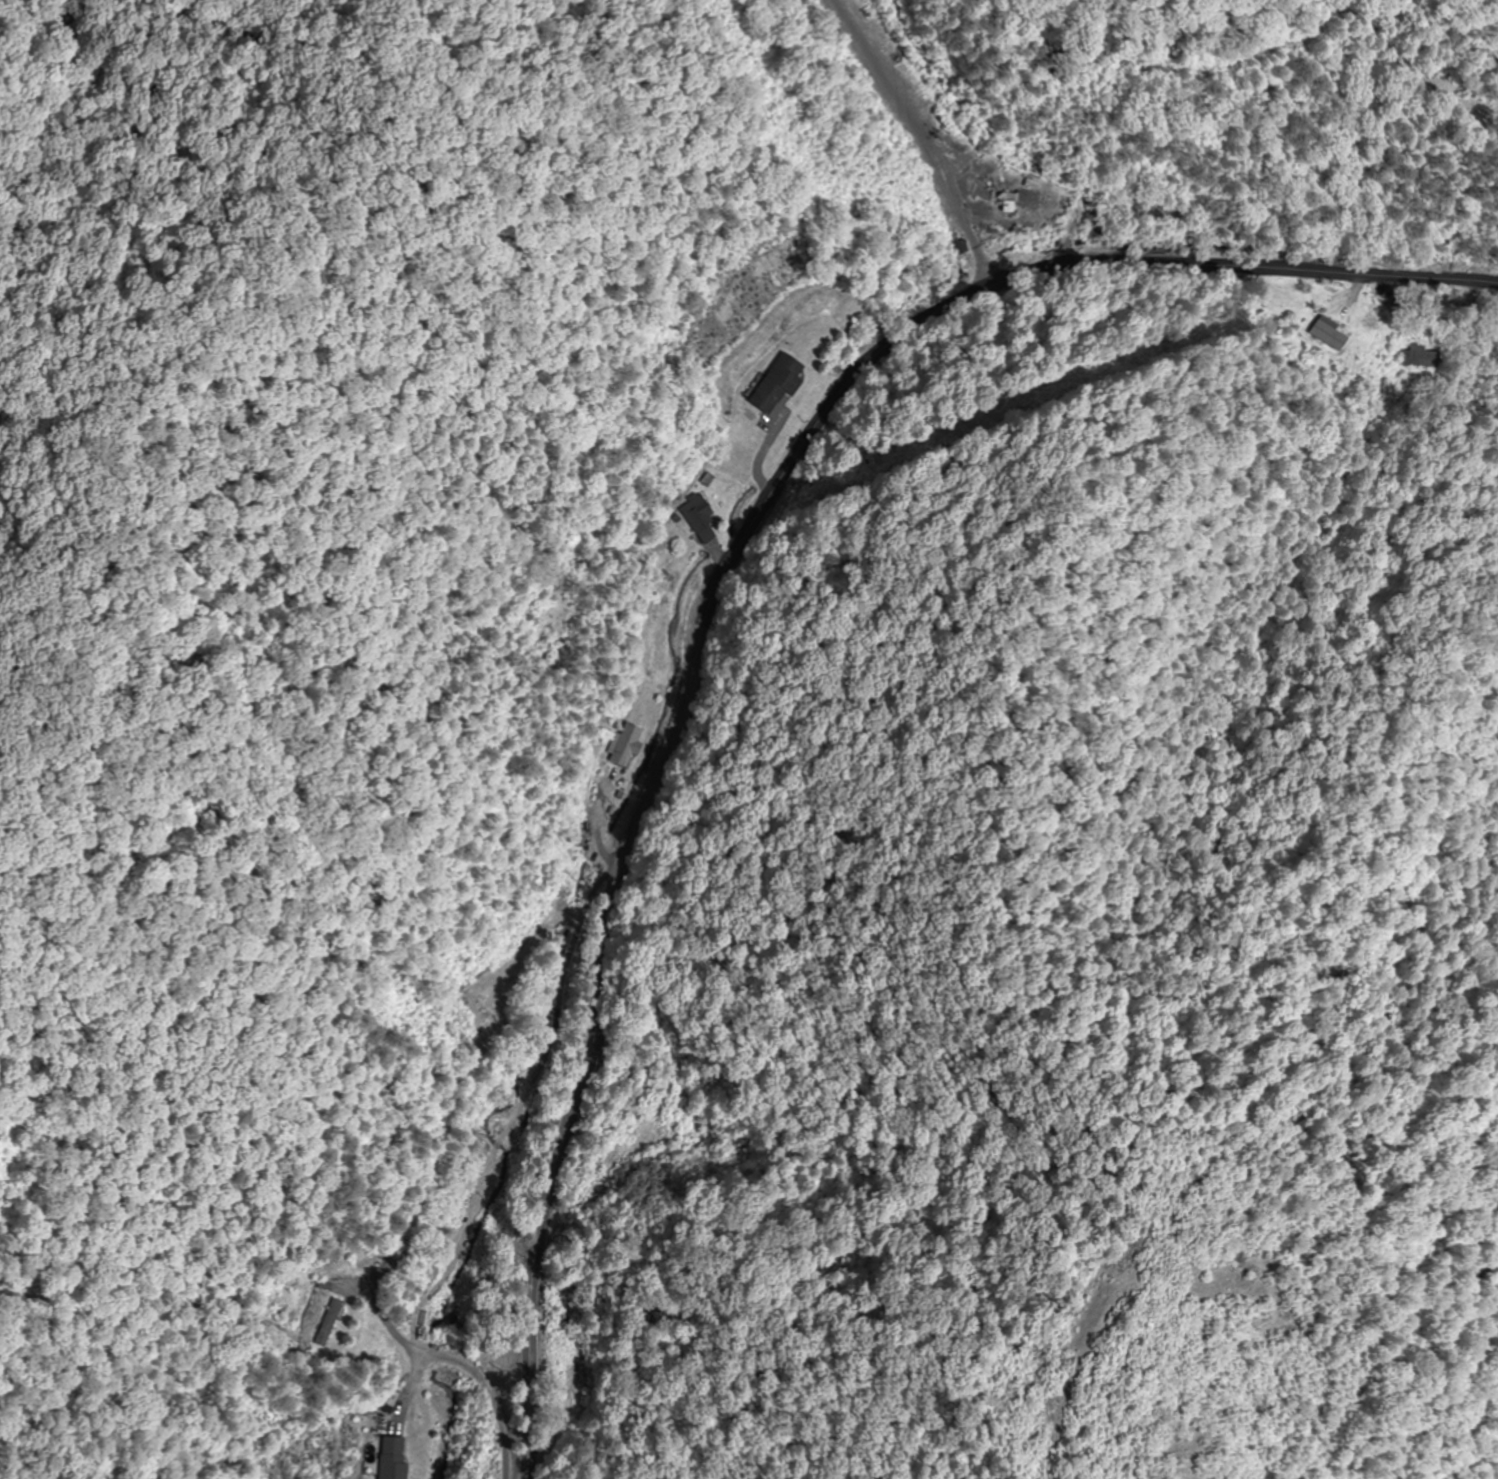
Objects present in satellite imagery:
road: (1227, 138)
building: (1019, 198)
building: (1059, 200)
building: (1329, 332)
building: (1421, 356)
building: (774, 383)
building: (698, 518)
road: (733, 591)
road: (722, 681)
building: (627, 745)
building: (482, 1010)
building: (326, 1323)
road: (551, 1335)
building: (585, 1380)
building: (390, 1458)

